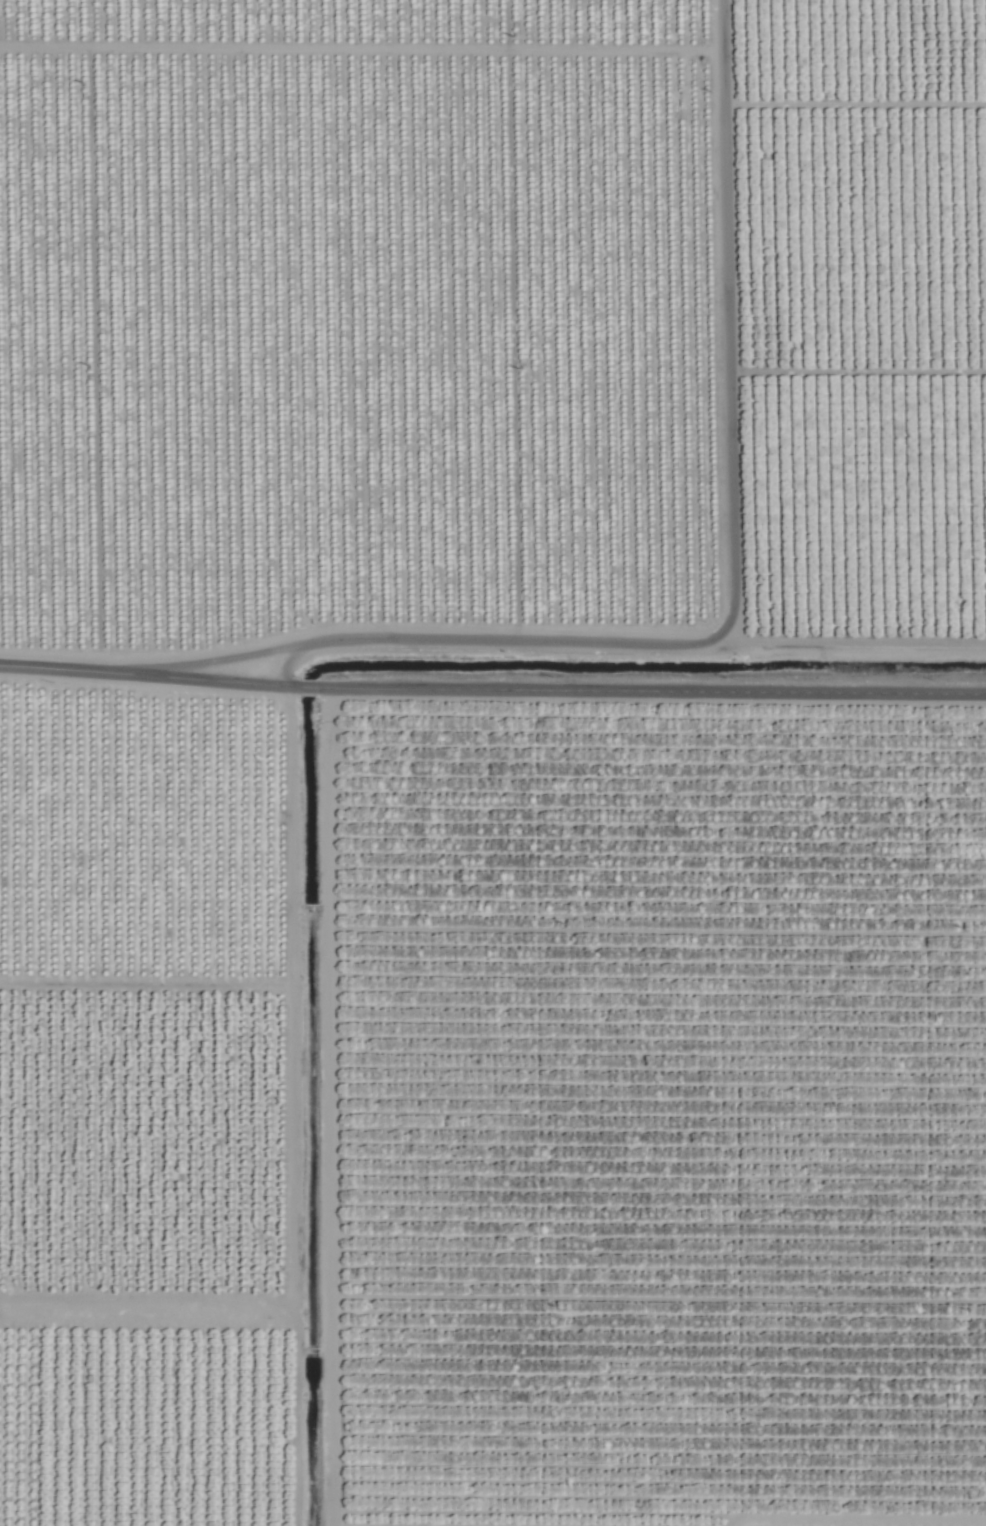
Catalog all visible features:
road: (729, 301)
road: (446, 639)
road: (288, 663)
road: (147, 675)
road: (306, 688)
road: (652, 691)
crop: (493, 763)
road: (289, 977)
road: (291, 1286)

